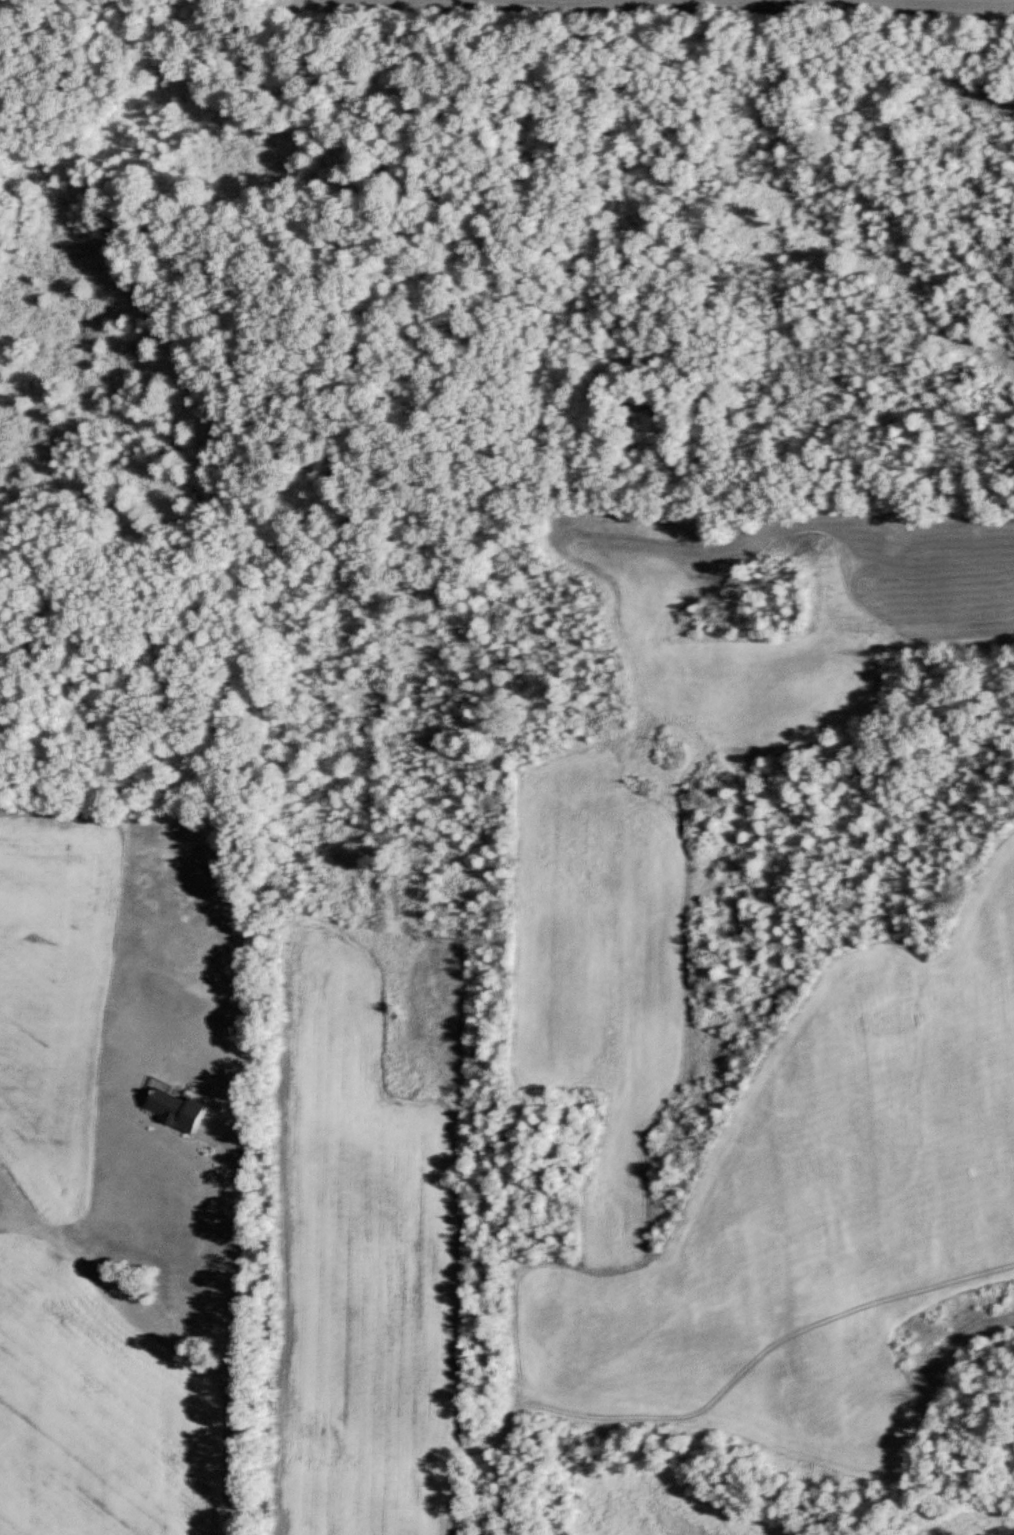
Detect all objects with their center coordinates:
building: (175, 1107)
road: (230, 1348)

